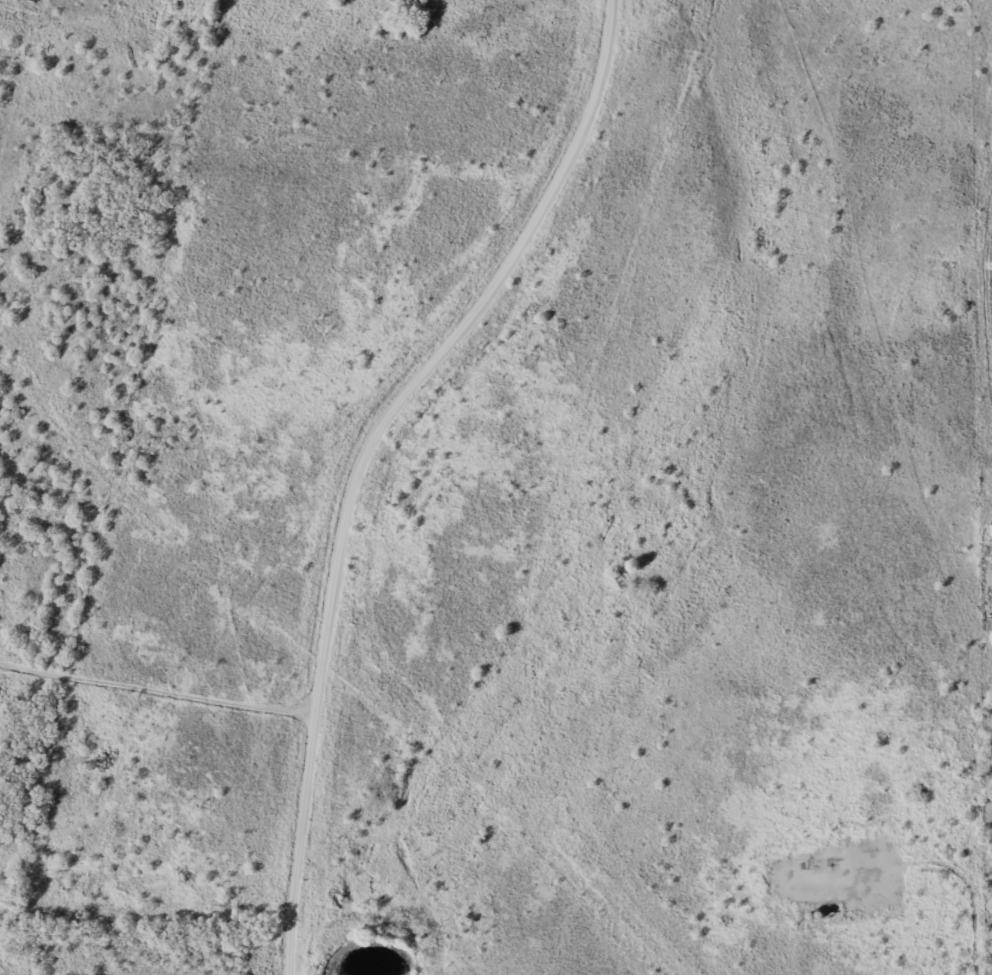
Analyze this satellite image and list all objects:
road: (363, 449)
road: (158, 679)

